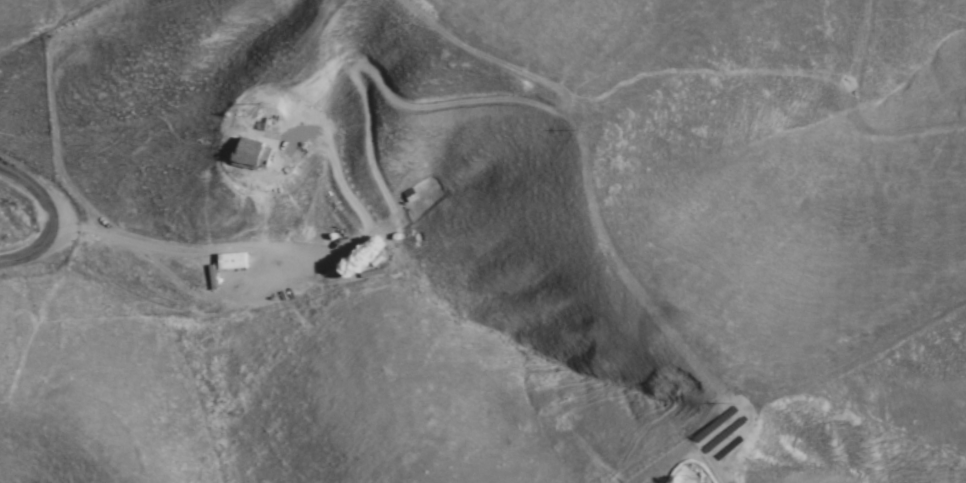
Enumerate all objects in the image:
road: (857, 142)
building: (253, 154)
road: (54, 214)
road: (257, 248)
building: (230, 261)

